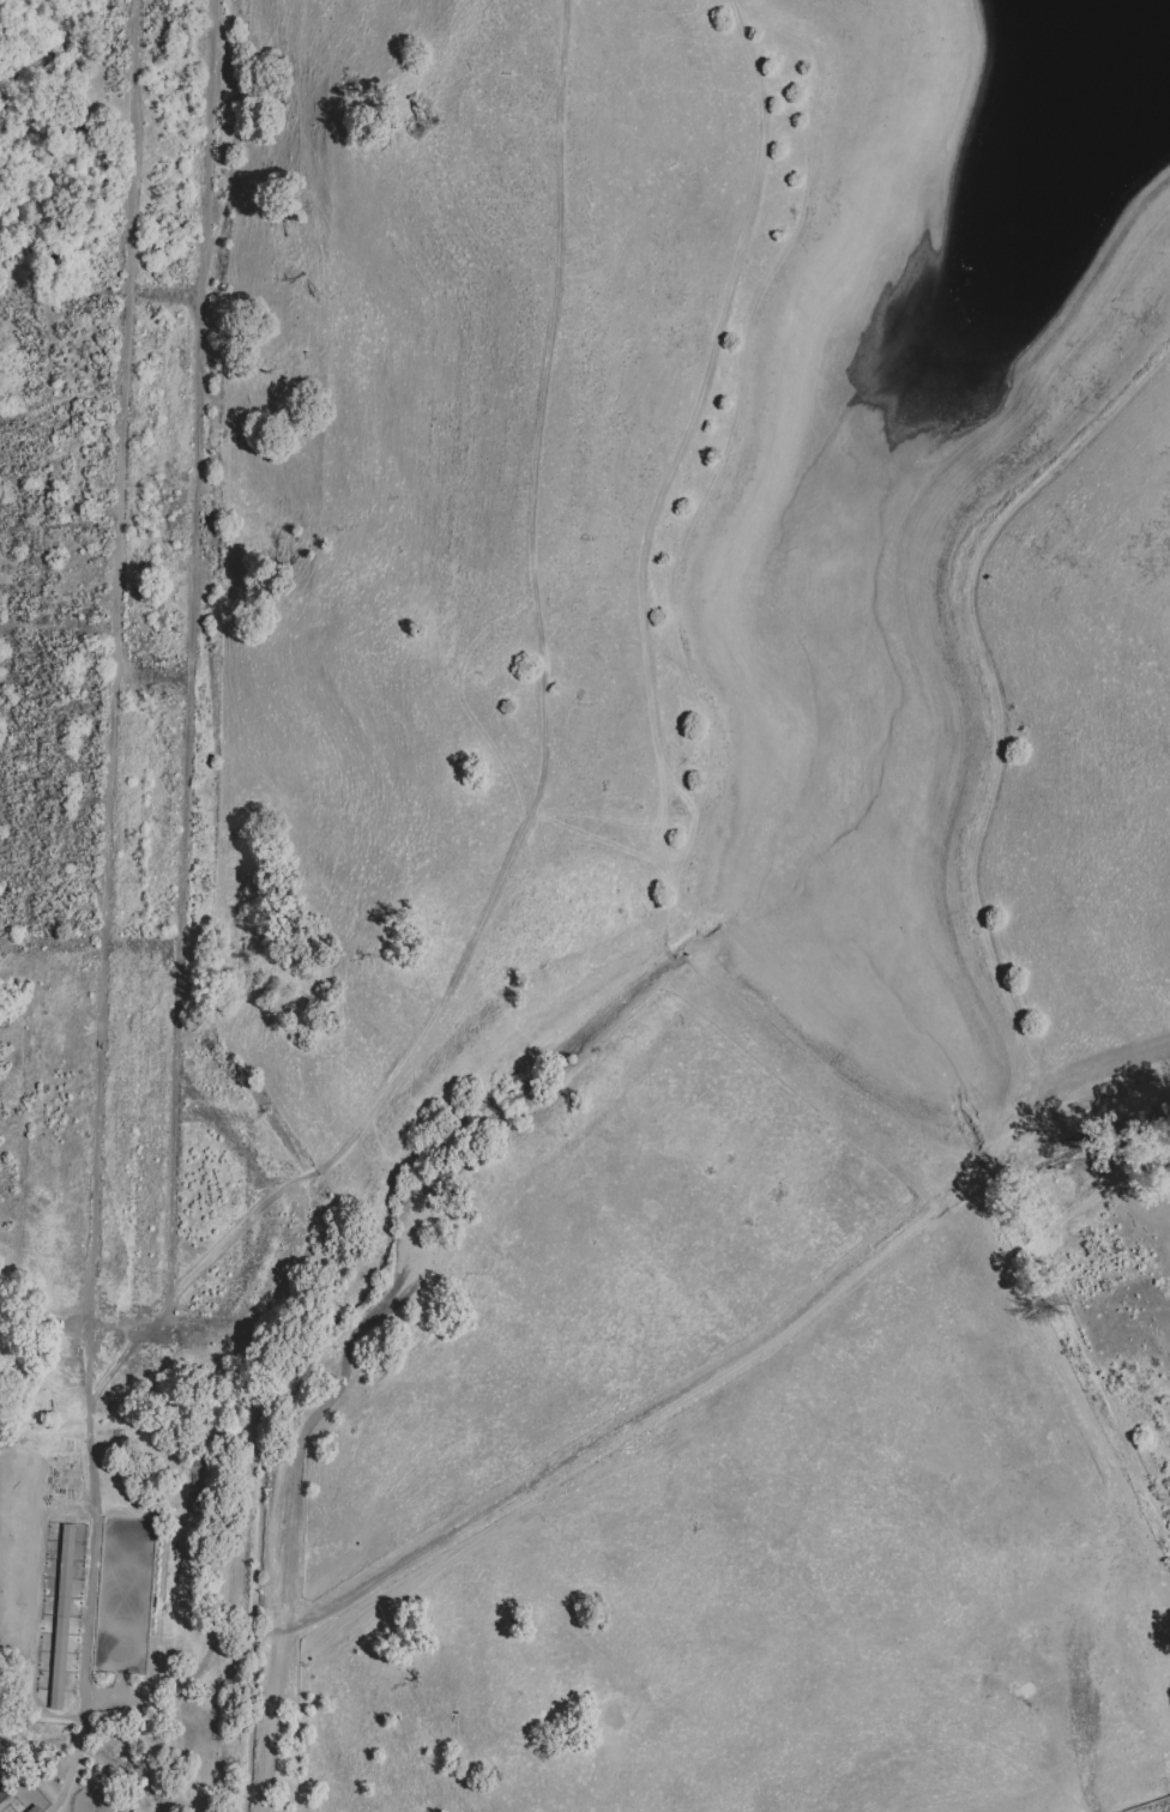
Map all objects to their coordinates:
road: (188, 700)
crop: (131, 713)
road: (539, 720)
road: (695, 830)
road: (104, 910)
road: (893, 1118)
building: (8, 1757)
park: (4, 1793)
building: (37, 1811)

